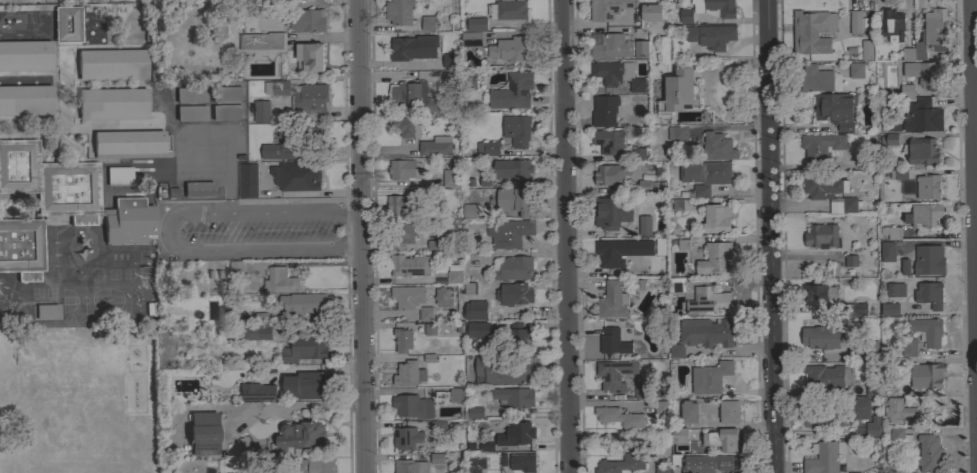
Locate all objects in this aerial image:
building: (714, 8)
building: (509, 9)
building: (606, 9)
building: (399, 12)
building: (652, 12)
building: (685, 16)
building: (308, 20)
building: (855, 22)
building: (67, 23)
building: (428, 23)
building: (476, 24)
building: (892, 25)
building: (218, 28)
building: (812, 31)
building: (930, 35)
building: (712, 36)
building: (471, 39)
building: (262, 42)
building: (413, 47)
building: (611, 47)
building: (508, 49)
building: (640, 49)
building: (866, 50)
building: (25, 55)
building: (310, 56)
building: (449, 60)
building: (112, 64)
road: (976, 64)
building: (856, 70)
building: (923, 73)
building: (617, 74)
building: (815, 79)
building: (276, 87)
building: (907, 91)
building: (512, 92)
building: (678, 92)
building: (225, 94)
building: (190, 95)
building: (413, 97)
building: (310, 98)
building: (25, 100)
building: (112, 103)
building: (835, 110)
building: (261, 111)
building: (604, 111)
building: (226, 112)
building: (190, 113)
building: (928, 115)
building: (405, 125)
building: (516, 130)
building: (307, 133)
building: (677, 133)
building: (889, 139)
building: (608, 140)
building: (131, 144)
building: (279, 146)
building: (436, 146)
building: (821, 146)
building: (717, 147)
building: (487, 148)
building: (920, 150)
building: (637, 154)
building: (401, 169)
building: (511, 169)
building: (705, 172)
building: (611, 174)
building: (898, 174)
building: (119, 176)
building: (296, 176)
building: (450, 178)
building: (247, 180)
building: (644, 186)
building: (823, 187)
building: (908, 187)
building: (928, 187)
building: (198, 189)
building: (699, 191)
building: (71, 192)
building: (515, 200)
building: (850, 204)
building: (397, 205)
building: (679, 205)
building: (835, 207)
building: (469, 212)
building: (612, 212)
building: (923, 215)
building: (716, 218)
building: (645, 226)
parking lot: (253, 227)
road: (165, 231)
building: (891, 232)
building: (509, 233)
building: (401, 234)
building: (821, 235)
road: (364, 236)
road: (571, 236)
road: (773, 236)
building: (428, 245)
building: (21, 247)
building: (887, 251)
building: (618, 252)
building: (715, 258)
building: (851, 260)
building: (928, 260)
building: (409, 265)
building: (905, 267)
building: (513, 268)
building: (235, 270)
building: (454, 276)
building: (279, 281)
building: (676, 285)
building: (470, 288)
building: (895, 290)
building: (818, 293)
building: (514, 294)
building: (929, 294)
building: (443, 296)
building: (411, 300)
building: (612, 301)
building: (707, 301)
building: (304, 303)
building: (149, 307)
building: (855, 309)
building: (890, 309)
building: (475, 310)
building: (46, 311)
building: (261, 317)
building: (430, 329)
building: (478, 329)
building: (927, 331)
building: (257, 332)
building: (709, 333)
building: (519, 336)
building: (820, 338)
building: (403, 340)
building: (610, 341)
building: (306, 346)
building: (908, 347)
building: (863, 348)
building: (676, 351)
road: (752, 352)
building: (426, 359)
building: (503, 369)
building: (286, 371)
building: (405, 373)
building: (613, 375)
building: (926, 375)
building: (710, 377)
building: (828, 377)
building: (310, 384)
building: (871, 390)
building: (641, 392)
building: (254, 393)
building: (456, 395)
building: (514, 397)
building: (412, 407)
road: (300, 408)
building: (661, 408)
building: (858, 409)
building: (898, 410)
building: (475, 412)
building: (689, 412)
building: (729, 412)
building: (822, 416)
building: (619, 417)
building: (927, 418)
building: (873, 426)
building: (202, 433)
building: (516, 434)
building: (300, 435)
building: (679, 435)
building: (898, 437)
building: (407, 439)
building: (723, 439)
building: (486, 447)
building: (929, 454)
building: (825, 458)
building: (437, 459)
building: (522, 463)
building: (621, 464)
building: (706, 464)
building: (317, 465)
building: (473, 465)
building: (409, 466)
building: (661, 466)

